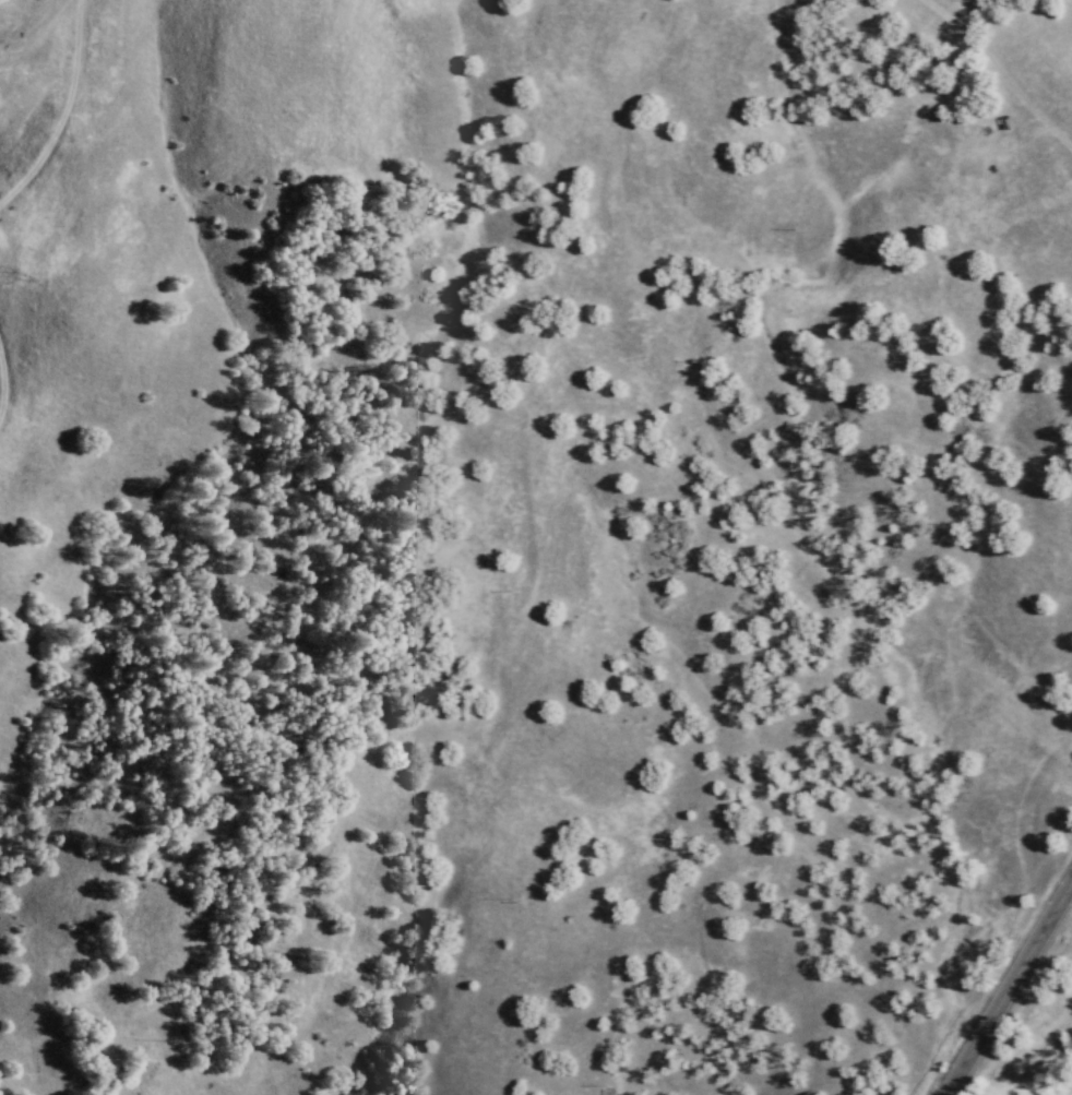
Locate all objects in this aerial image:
road: (1001, 72)
power tower: (4, 281)
road: (1009, 987)

